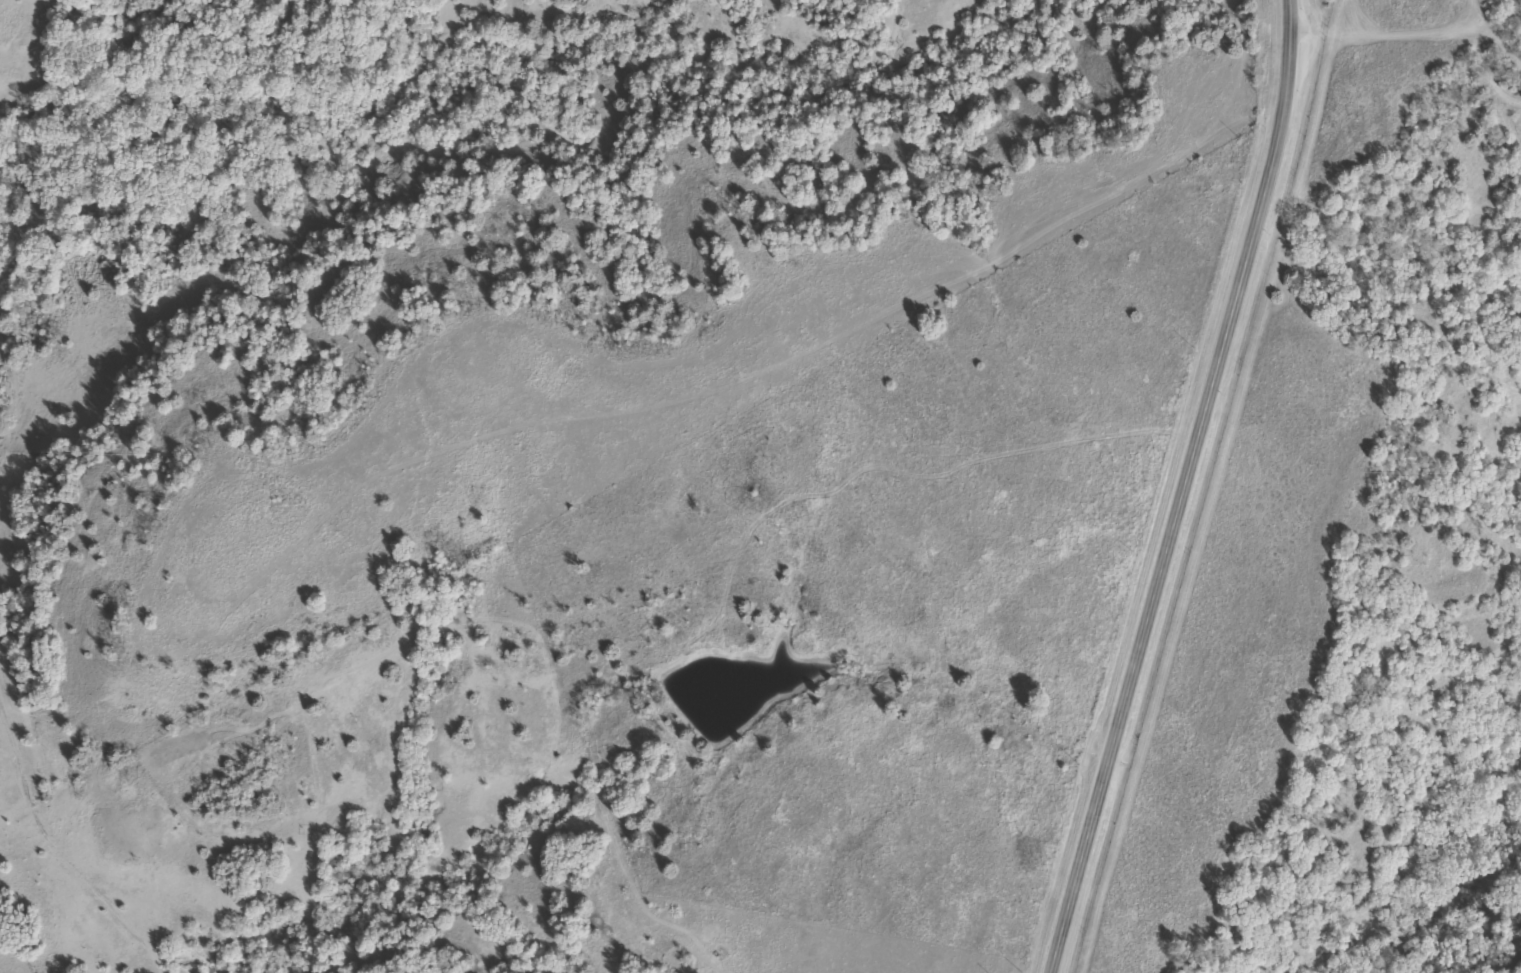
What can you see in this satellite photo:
road: (1184, 488)

